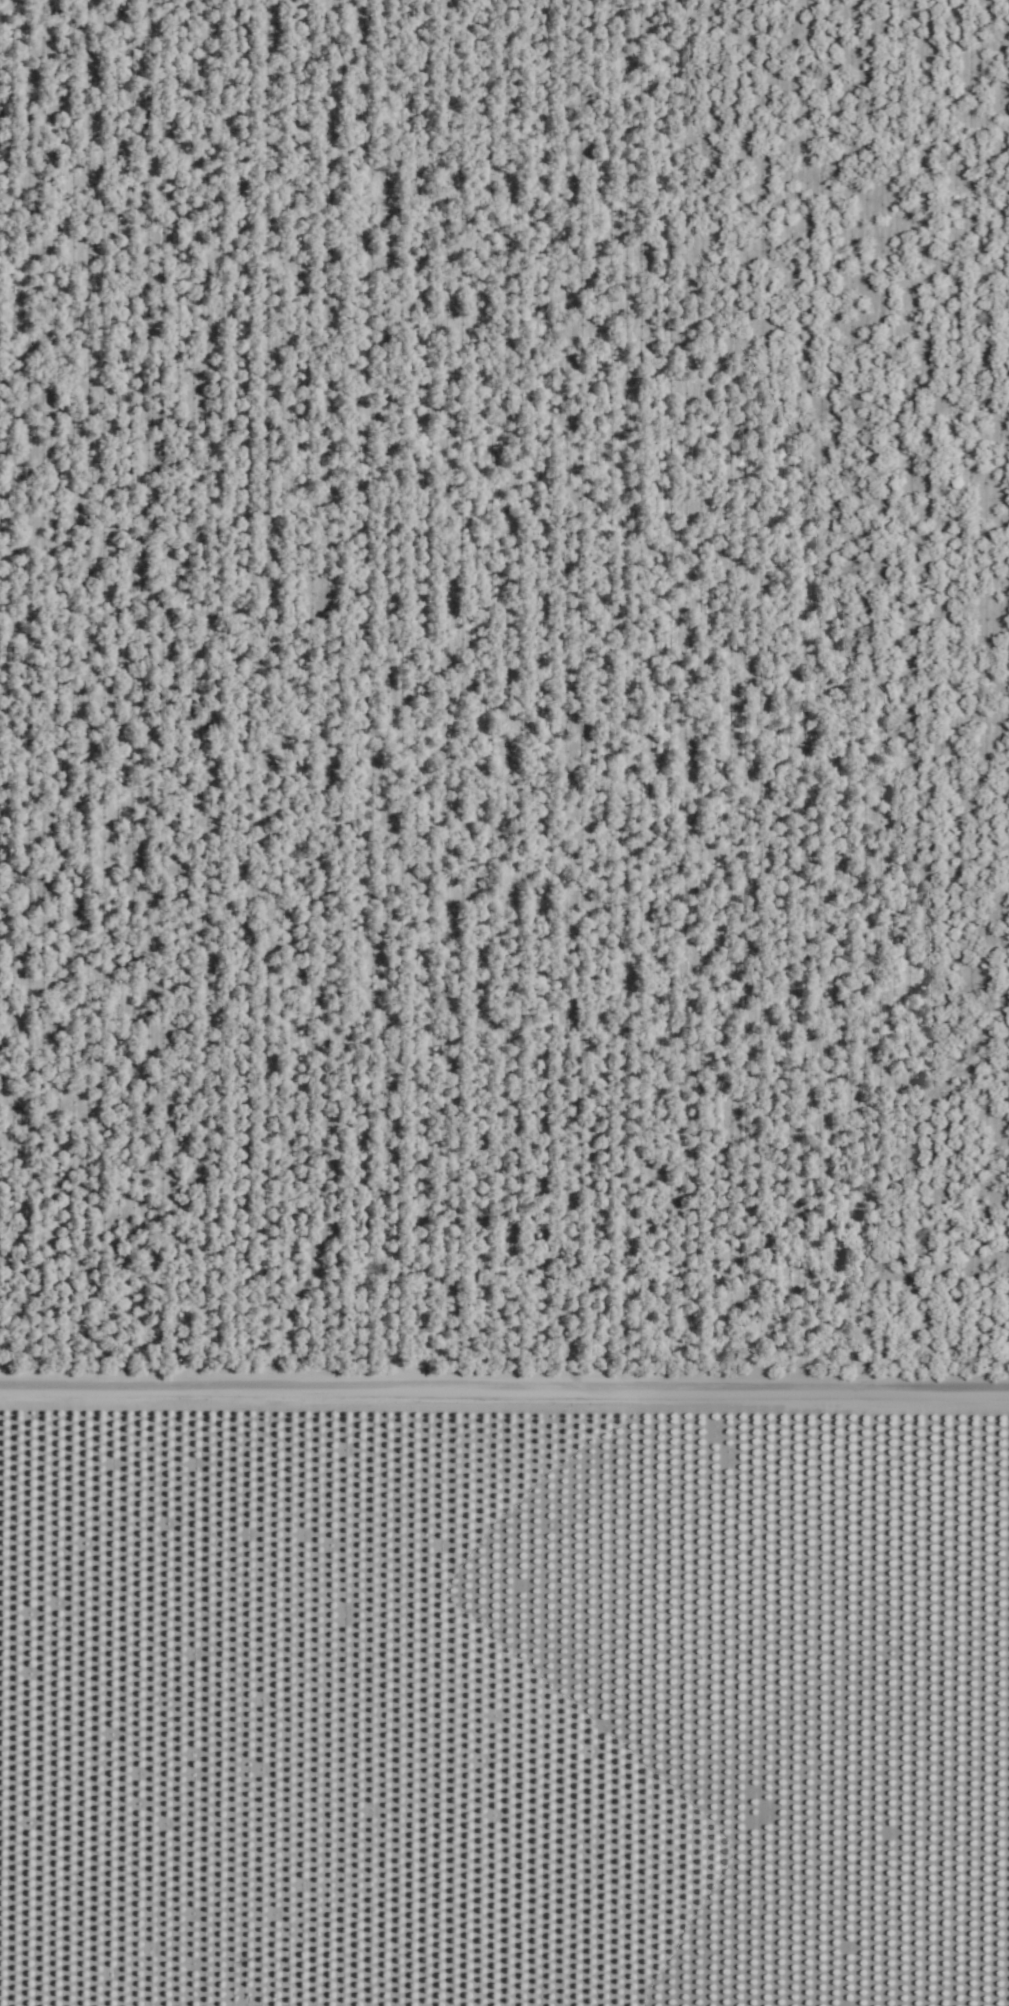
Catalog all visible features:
crop: (494, 1731)

